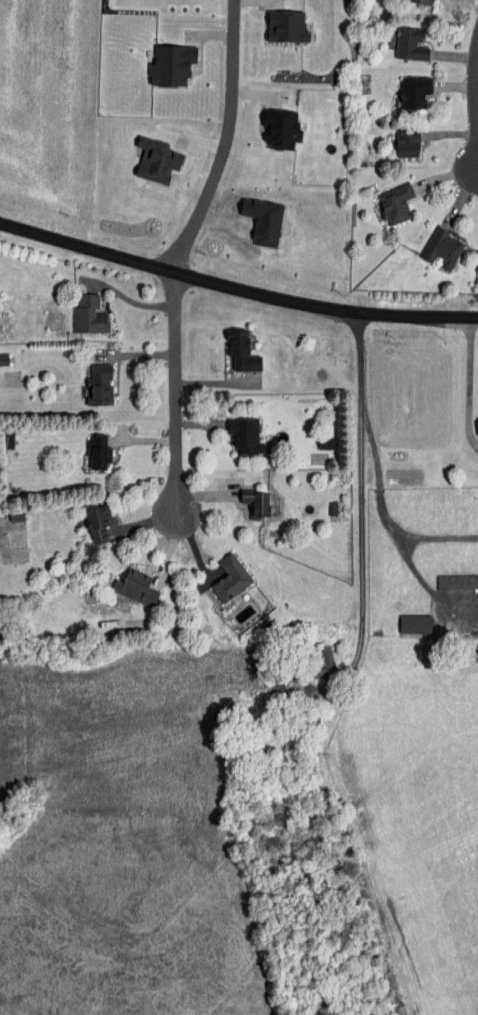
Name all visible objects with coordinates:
building: (421, 1)
building: (287, 26)
building: (411, 44)
road: (455, 57)
building: (172, 65)
road: (476, 82)
road: (457, 86)
building: (415, 92)
road: (474, 98)
building: (282, 129)
road: (452, 134)
road: (223, 140)
building: (407, 143)
road: (477, 148)
road: (447, 175)
road: (459, 198)
building: (396, 204)
building: (443, 249)
road: (235, 289)
building: (90, 315)
road: (143, 318)
road: (207, 351)
building: (242, 352)
road: (469, 384)
building: (100, 385)
road: (145, 387)
road: (178, 412)
road: (212, 428)
building: (477, 431)
building: (246, 437)
road: (147, 451)
building: (99, 452)
road: (216, 499)
building: (257, 503)
road: (382, 509)
road: (141, 516)
road: (355, 517)
building: (97, 524)
road: (164, 562)
road: (204, 564)
building: (231, 579)
building: (457, 582)
road: (426, 585)
building: (136, 588)
building: (415, 624)
building: (322, 662)

